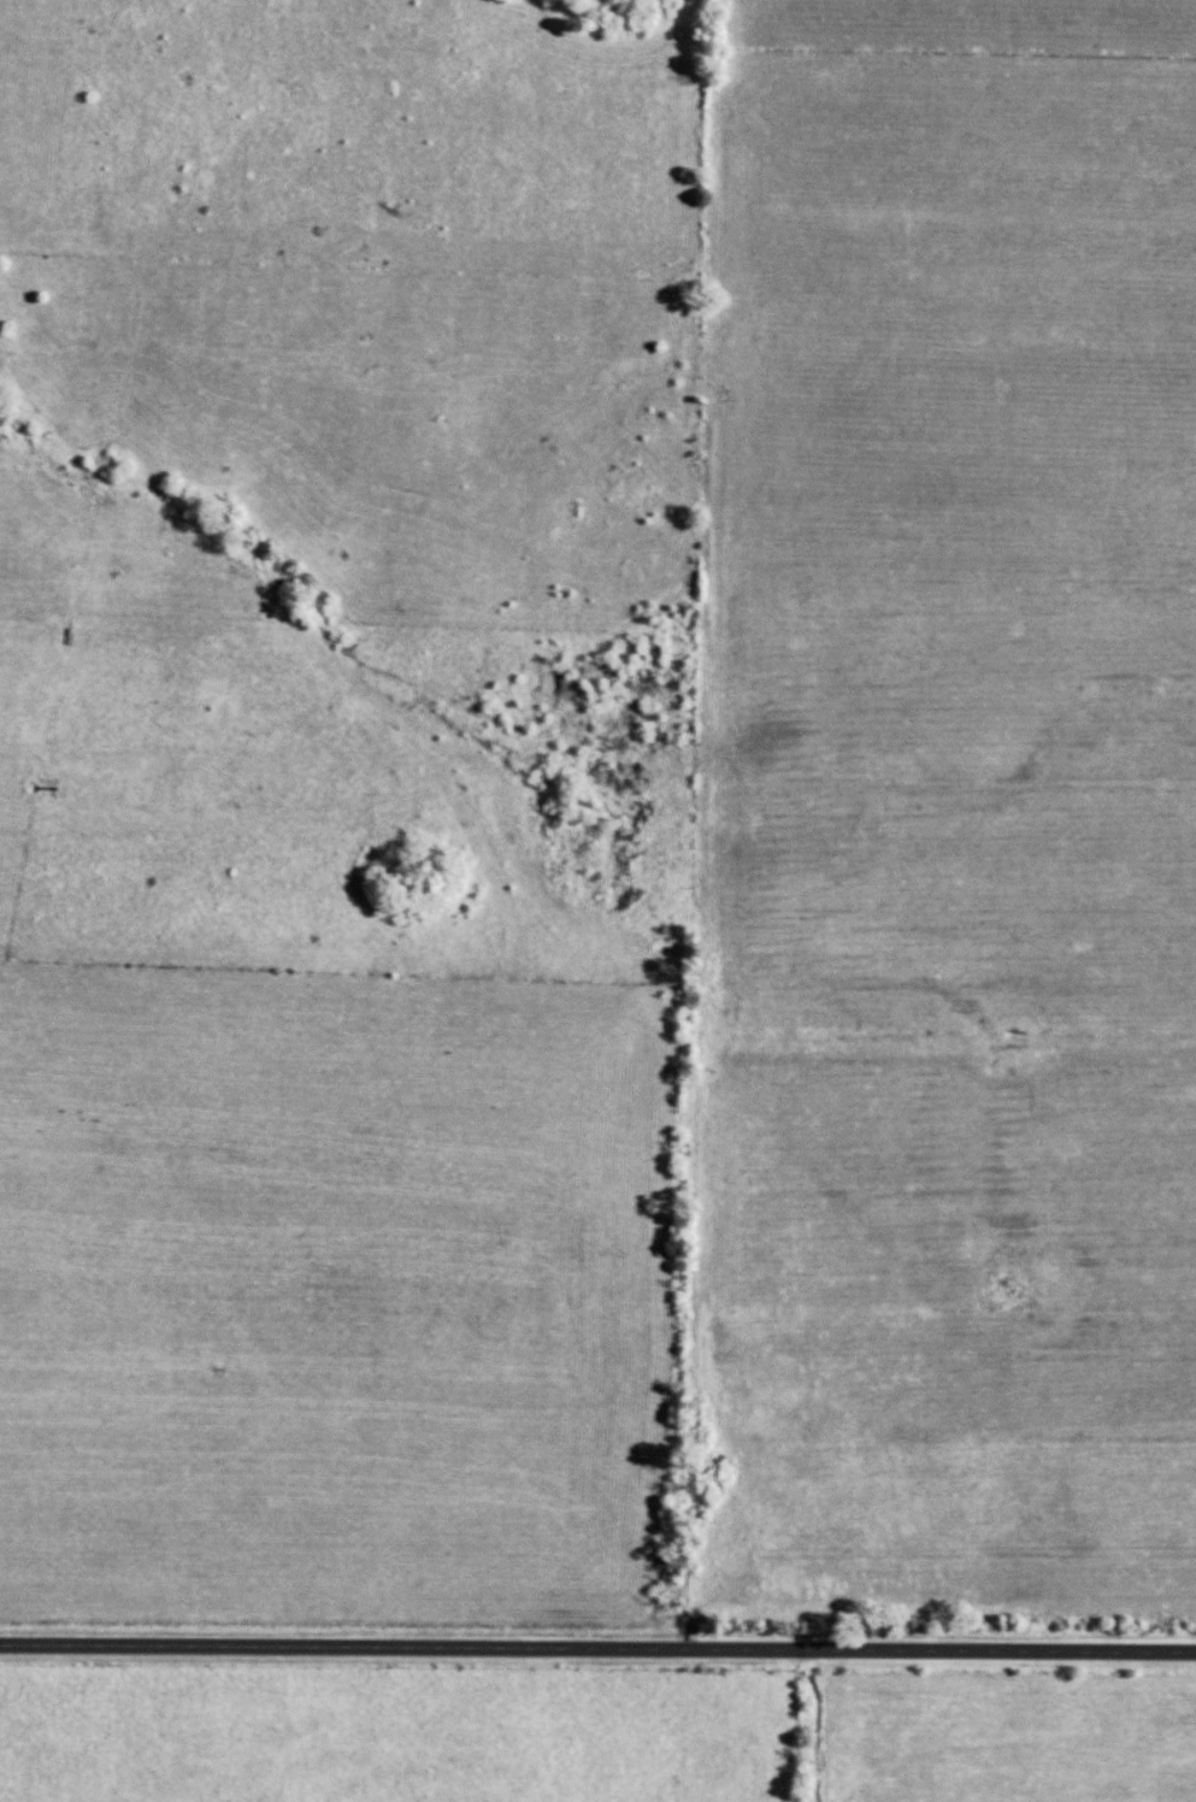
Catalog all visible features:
road: (597, 1651)

